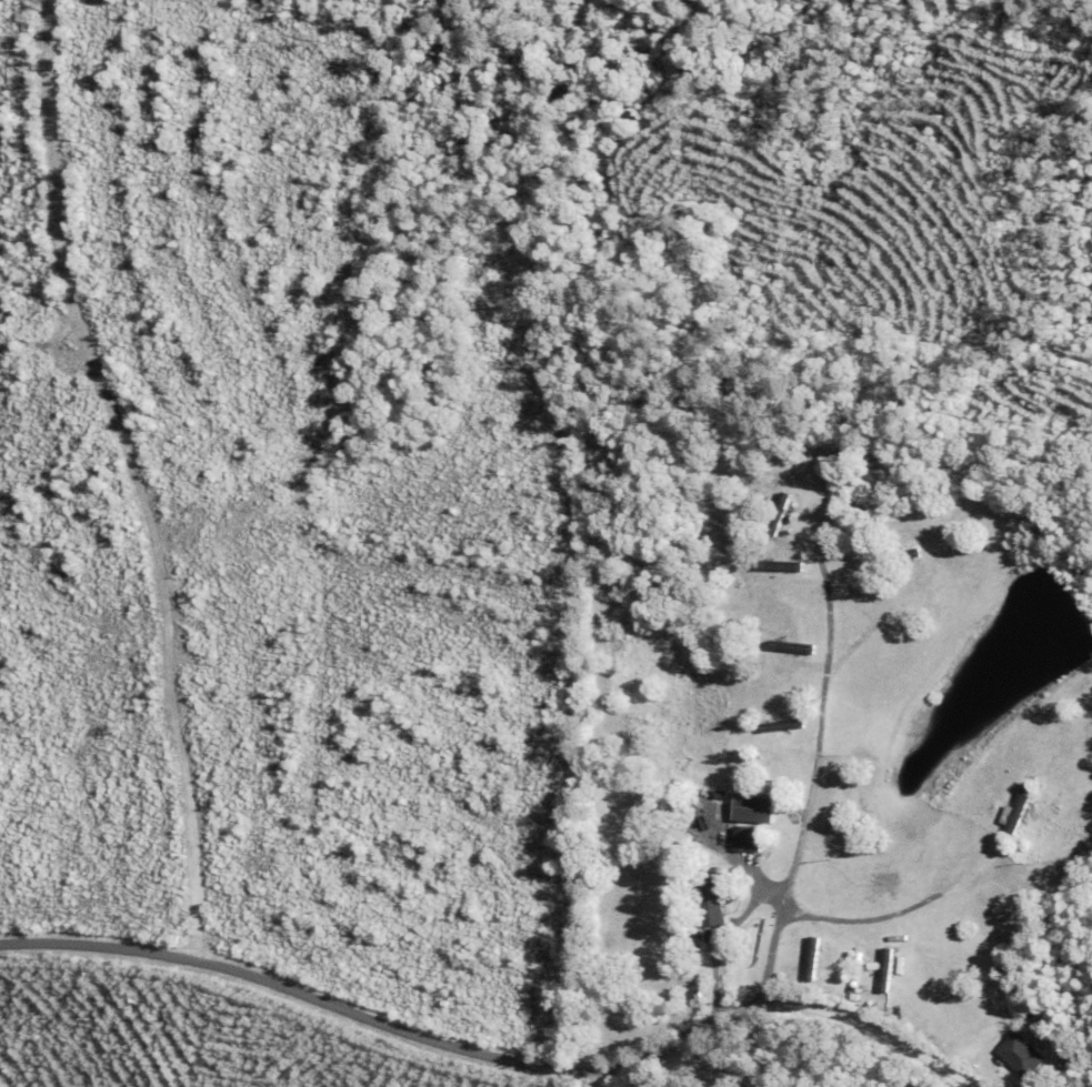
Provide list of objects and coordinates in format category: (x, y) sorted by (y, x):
building: (779, 564)
building: (732, 781)
building: (720, 794)
building: (753, 808)
building: (1019, 808)
building: (747, 838)
building: (765, 844)
building: (772, 863)
building: (711, 896)
building: (812, 958)
building: (886, 965)
building: (694, 994)
road: (385, 1027)
road: (870, 1034)
building: (1021, 1055)

